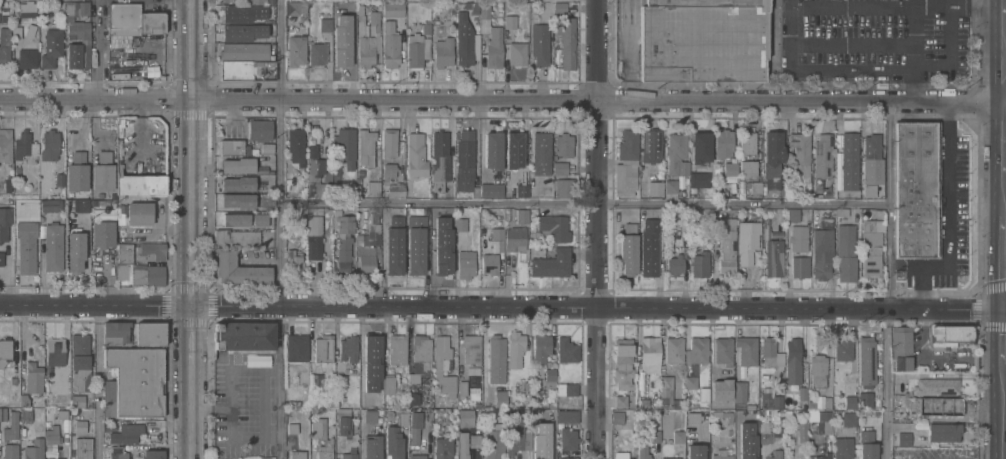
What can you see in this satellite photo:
building: (257, 1)
road: (871, 2)
road: (976, 2)
building: (701, 3)
building: (536, 4)
building: (472, 7)
building: (559, 7)
building: (27, 8)
building: (296, 8)
building: (393, 9)
road: (1005, 10)
building: (242, 15)
building: (348, 18)
building: (70, 19)
building: (135, 19)
building: (484, 19)
building: (510, 21)
building: (374, 22)
building: (325, 24)
building: (426, 26)
road: (772, 27)
building: (31, 29)
building: (17, 32)
building: (242, 32)
building: (133, 38)
building: (463, 40)
building: (566, 40)
building: (365, 41)
building: (539, 43)
building: (701, 43)
building: (390, 44)
building: (4, 45)
building: (51, 47)
building: (344, 48)
building: (295, 49)
building: (494, 49)
building: (416, 50)
road: (597, 50)
road: (101, 51)
building: (244, 51)
building: (443, 51)
building: (317, 52)
building: (517, 53)
building: (78, 55)
building: (27, 57)
road: (1004, 63)
road: (869, 65)
building: (236, 69)
building: (130, 75)
road: (912, 84)
road: (298, 101)
road: (800, 102)
building: (260, 129)
road: (1004, 141)
building: (389, 142)
building: (723, 142)
building: (747, 143)
building: (49, 144)
building: (563, 144)
building: (5, 145)
building: (24, 145)
building: (230, 146)
building: (296, 146)
building: (345, 146)
building: (650, 146)
building: (700, 146)
building: (267, 147)
building: (365, 147)
building: (513, 150)
building: (492, 151)
building: (398, 152)
building: (541, 153)
building: (676, 153)
building: (801, 153)
building: (415, 155)
building: (822, 156)
building: (871, 158)
building: (772, 159)
building: (439, 160)
building: (848, 161)
building: (465, 162)
building: (626, 163)
building: (242, 165)
building: (560, 167)
building: (730, 168)
building: (747, 168)
building: (389, 170)
building: (77, 171)
building: (103, 171)
building: (335, 172)
building: (360, 172)
building: (317, 177)
building: (57, 179)
building: (136, 179)
building: (699, 179)
building: (358, 180)
building: (238, 183)
building: (670, 185)
building: (754, 185)
building: (814, 185)
building: (373, 187)
building: (563, 187)
building: (655, 187)
building: (336, 189)
building: (916, 189)
building: (396, 190)
building: (490, 191)
building: (521, 191)
building: (868, 191)
building: (93, 194)
road: (1003, 197)
building: (238, 200)
building: (94, 202)
building: (49, 205)
building: (82, 205)
road: (584, 206)
building: (298, 207)
building: (767, 210)
building: (336, 211)
building: (841, 211)
building: (140, 212)
building: (290, 213)
building: (102, 214)
building: (374, 214)
building: (448, 214)
building: (521, 215)
building: (793, 215)
road: (947, 216)
building: (246, 218)
building: (4, 222)
building: (766, 222)
building: (460, 224)
building: (706, 226)
building: (553, 227)
road: (192, 229)
road: (281, 229)
building: (766, 232)
building: (102, 233)
building: (497, 233)
building: (316, 235)
building: (237, 236)
building: (798, 237)
building: (344, 239)
building: (747, 240)
building: (516, 241)
building: (415, 244)
building: (53, 246)
building: (394, 246)
building: (727, 246)
building: (871, 247)
building: (628, 248)
building: (649, 248)
building: (822, 248)
building: (367, 249)
building: (76, 250)
building: (152, 250)
building: (845, 251)
building: (124, 252)
building: (26, 253)
building: (773, 257)
building: (1, 258)
building: (442, 259)
building: (293, 261)
road: (1003, 262)
building: (466, 263)
building: (489, 263)
building: (551, 263)
building: (700, 263)
building: (675, 264)
building: (800, 266)
building: (239, 270)
building: (121, 272)
building: (148, 275)
building: (898, 275)
road: (597, 279)
road: (887, 281)
road: (502, 307)
traffic signals: (1003, 309)
building: (115, 332)
building: (150, 333)
building: (948, 335)
building: (243, 336)
road: (1002, 336)
building: (540, 346)
building: (348, 347)
building: (901, 347)
building: (297, 348)
building: (471, 348)
building: (515, 348)
building: (323, 349)
building: (373, 349)
building: (397, 349)
building: (674, 349)
building: (698, 349)
building: (843, 349)
building: (566, 350)
building: (723, 350)
building: (746, 350)
building: (5, 351)
building: (768, 351)
building: (54, 352)
building: (649, 353)
building: (420, 357)
building: (496, 360)
building: (80, 361)
building: (793, 361)
building: (866, 361)
building: (623, 363)
building: (973, 363)
building: (443, 366)
building: (276, 368)
building: (818, 370)
building: (472, 372)
building: (550, 374)
building: (302, 377)
building: (367, 377)
building: (33, 378)
building: (13, 380)
building: (315, 380)
building: (340, 380)
building: (134, 381)
building: (643, 381)
building: (691, 381)
road: (99, 382)
building: (389, 384)
building: (528, 384)
building: (936, 385)
building: (462, 387)
building: (721, 389)
building: (566, 390)
building: (740, 391)
building: (668, 392)
building: (423, 393)
building: (704, 393)
building: (500, 398)
building: (77, 399)
building: (771, 399)
building: (24, 400)
building: (620, 400)
building: (643, 401)
building: (849, 401)
building: (865, 401)
building: (89, 402)
building: (827, 402)
building: (811, 403)
building: (292, 404)
building: (552, 405)
building: (750, 406)
building: (316, 410)
building: (339, 410)
building: (402, 410)
road: (1001, 411)
building: (61, 412)
building: (536, 412)
building: (788, 412)
building: (3, 413)
building: (752, 414)
building: (779, 414)
building: (25, 415)
building: (370, 415)
building: (739, 415)
building: (567, 416)
building: (465, 417)
building: (617, 417)
building: (399, 418)
building: (693, 418)
building: (824, 420)
building: (418, 422)
building: (342, 425)
building: (11, 426)
building: (80, 426)
building: (292, 427)
building: (153, 428)
building: (802, 430)
building: (944, 431)
building: (765, 432)
building: (125, 433)
building: (547, 433)
building: (514, 434)
building: (52, 435)
building: (321, 436)
building: (654, 436)
building: (678, 436)
building: (740, 436)
building: (845, 436)
building: (903, 438)
building: (568, 439)
building: (352, 440)
building: (474, 440)
building: (393, 443)
building: (494, 443)
building: (463, 445)
building: (866, 445)
building: (372, 446)
building: (83, 448)
building: (442, 448)
building: (34, 449)
building: (750, 450)
building: (10, 451)
building: (643, 451)
building: (694, 451)
building: (544, 452)
building: (116, 453)
building: (152, 454)
building: (297, 454)
building: (721, 454)
building: (621, 455)
building: (823, 455)
building: (349, 456)
building: (417, 456)
building: (772, 457)
building: (53, 458)
building: (567, 458)
building: (670, 458)

